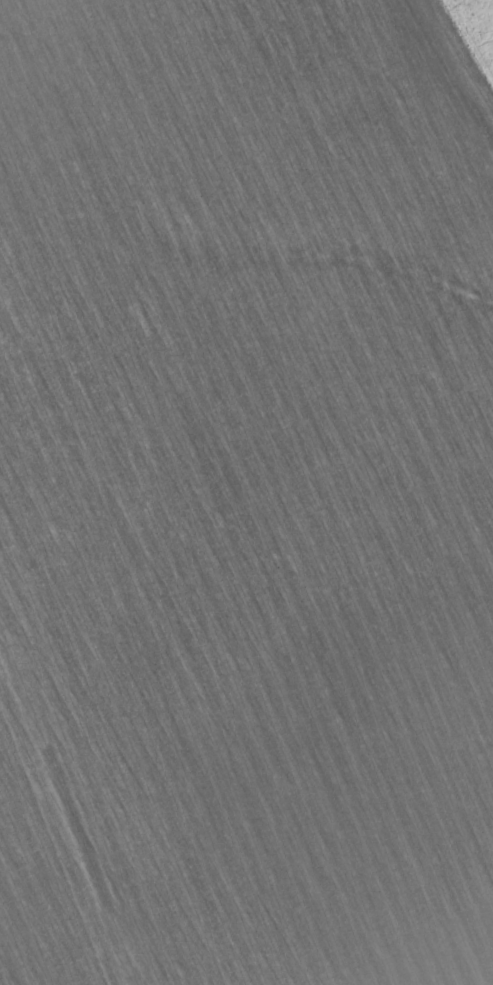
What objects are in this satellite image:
road: (84, 127)

